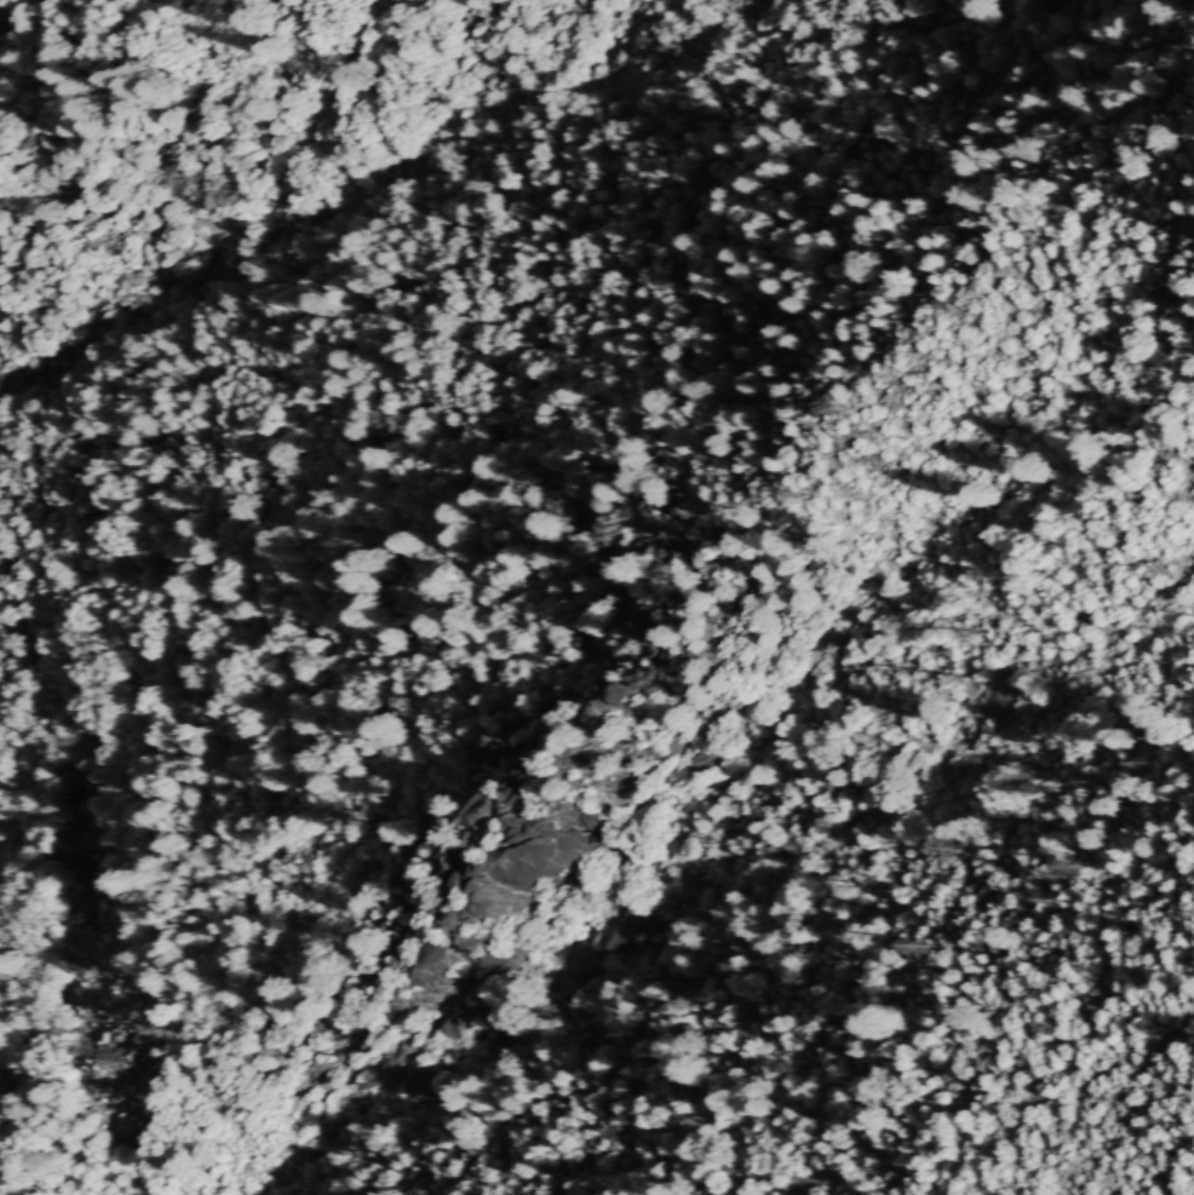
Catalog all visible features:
power tower: (119, 1056)

